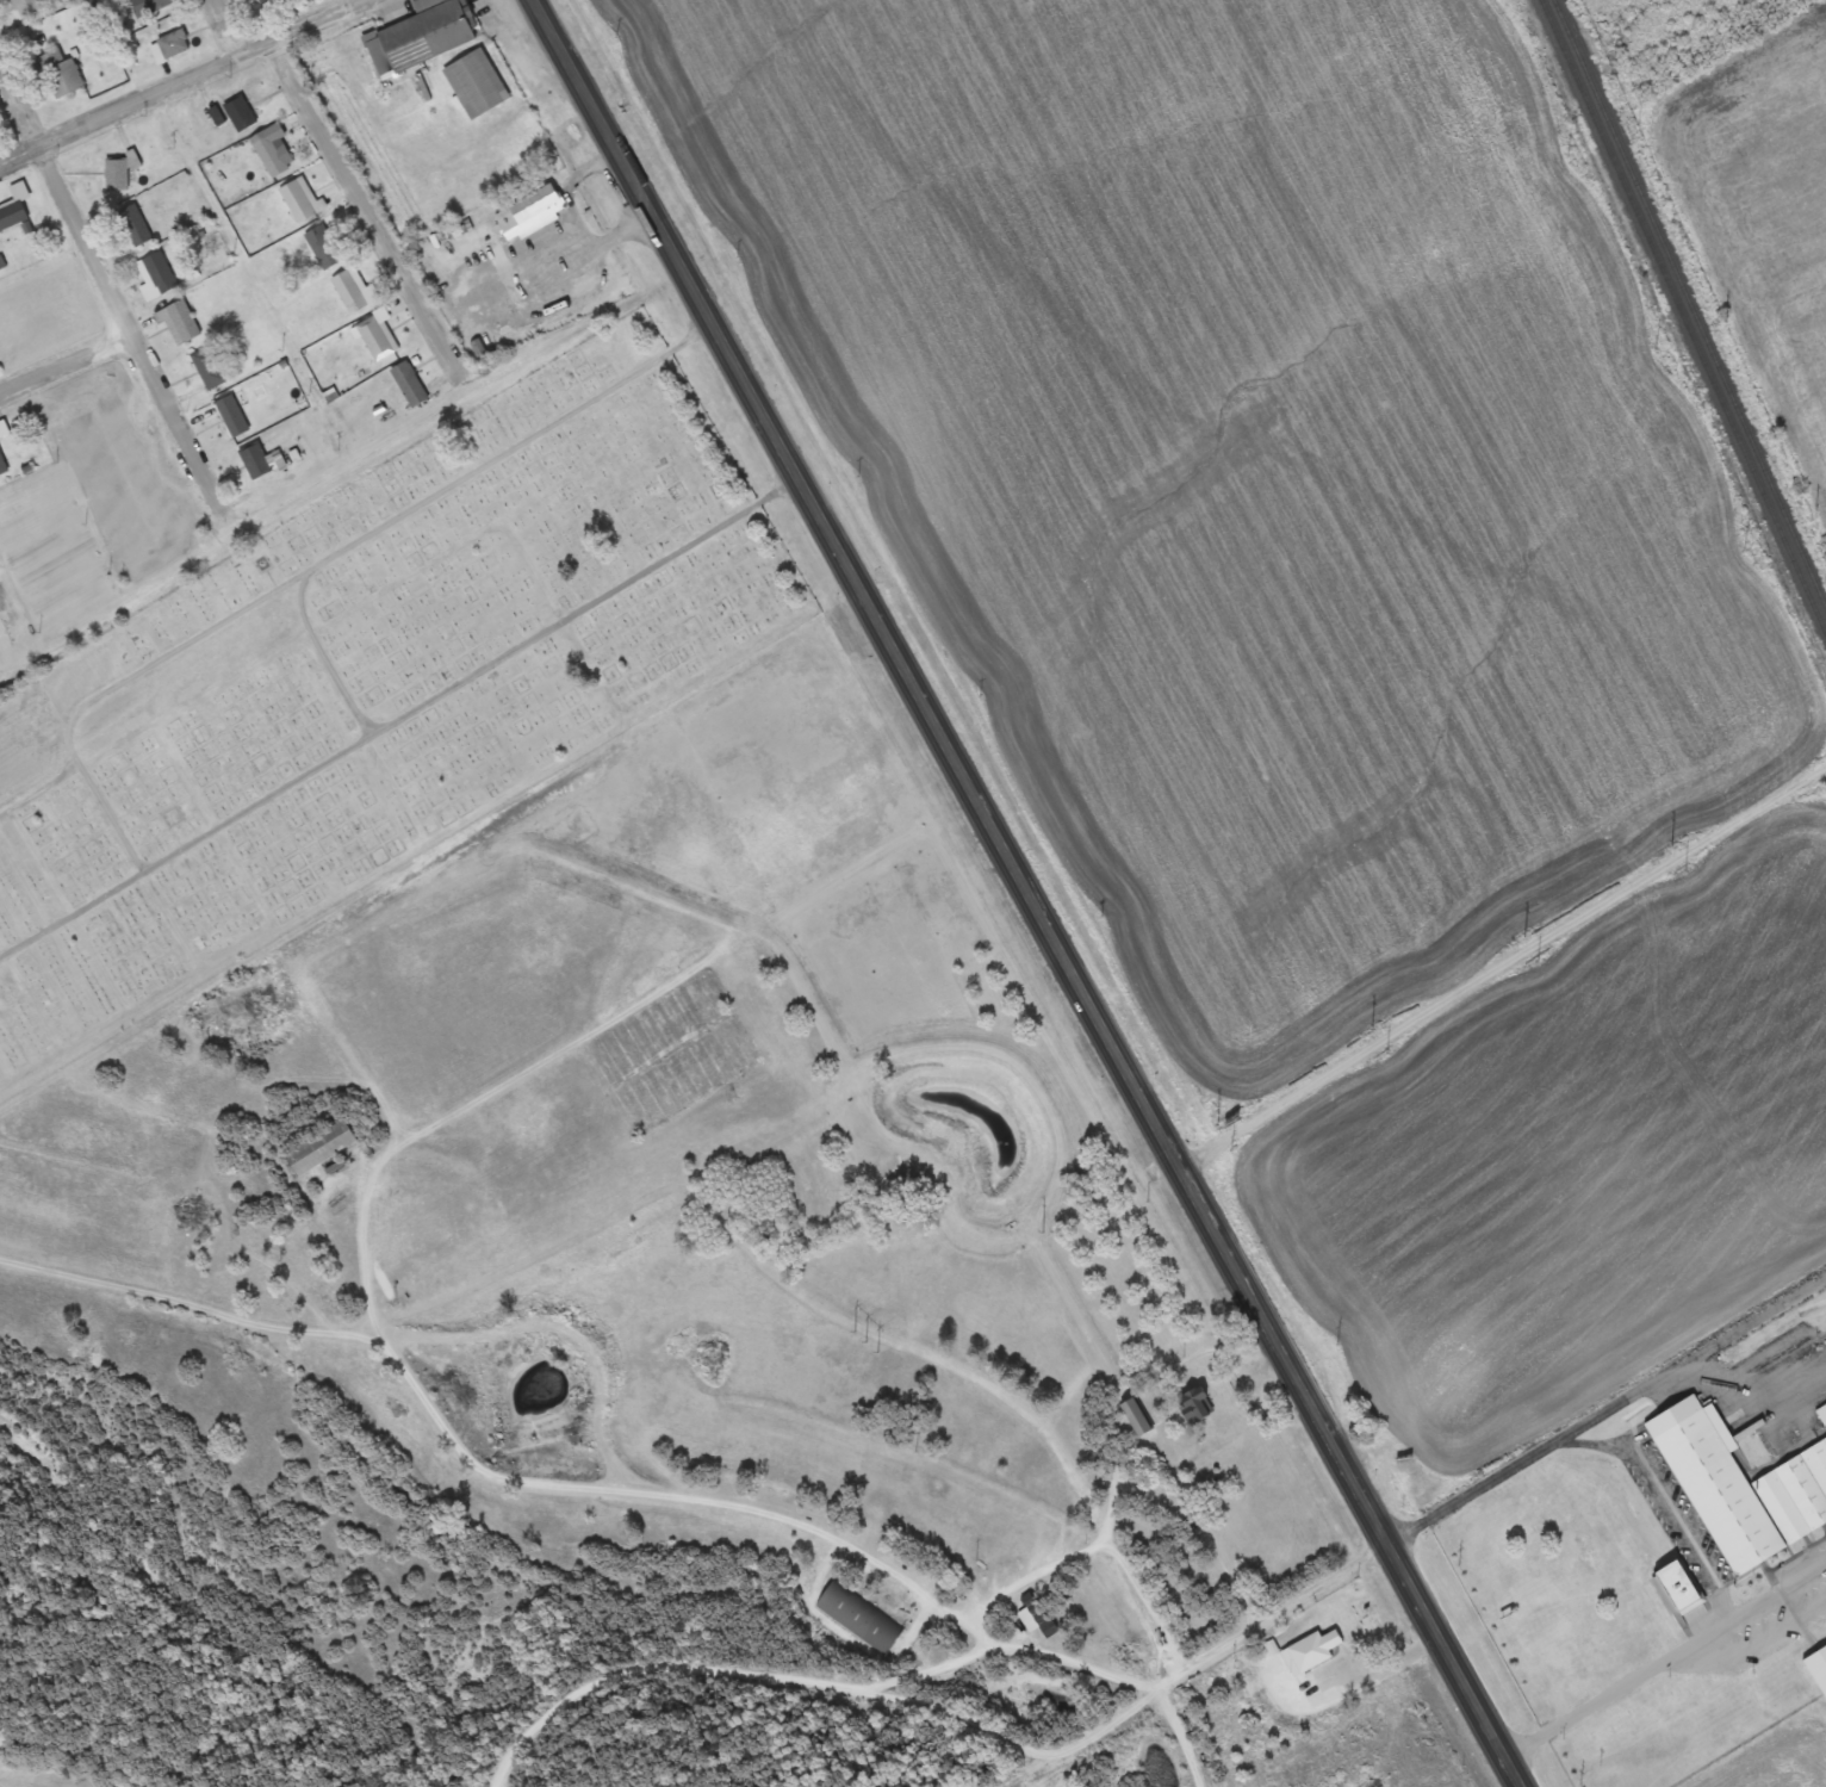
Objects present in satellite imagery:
building: (272, 2)
building: (151, 6)
building: (27, 7)
road: (223, 27)
building: (424, 38)
building: (172, 48)
building: (63, 75)
road: (180, 77)
building: (479, 85)
building: (238, 113)
building: (274, 157)
building: (119, 174)
building: (300, 203)
road: (364, 211)
building: (532, 212)
building: (13, 217)
building: (137, 227)
building: (339, 271)
building: (162, 273)
road: (696, 299)
road: (100, 300)
railway: (1689, 305)
railway: (1683, 316)
building: (185, 321)
building: (377, 339)
building: (210, 368)
road: (61, 373)
building: (410, 384)
building: (232, 418)
building: (5, 429)
building: (261, 461)
building: (4, 464)
road: (313, 567)
building: (448, 598)
road: (12, 615)
road: (325, 659)
park: (367, 683)
road: (399, 718)
road: (1502, 968)
road: (472, 1098)
building: (325, 1147)
road: (1192, 1193)
power tower: (863, 1342)
road: (1745, 1384)
road: (1604, 1408)
building: (1137, 1420)
road: (561, 1484)
building: (1746, 1494)
road: (1659, 1496)
building: (1683, 1589)
road: (1269, 1614)
building: (1036, 1617)
road: (1754, 1639)
road: (1665, 1656)
building: (1820, 1662)

